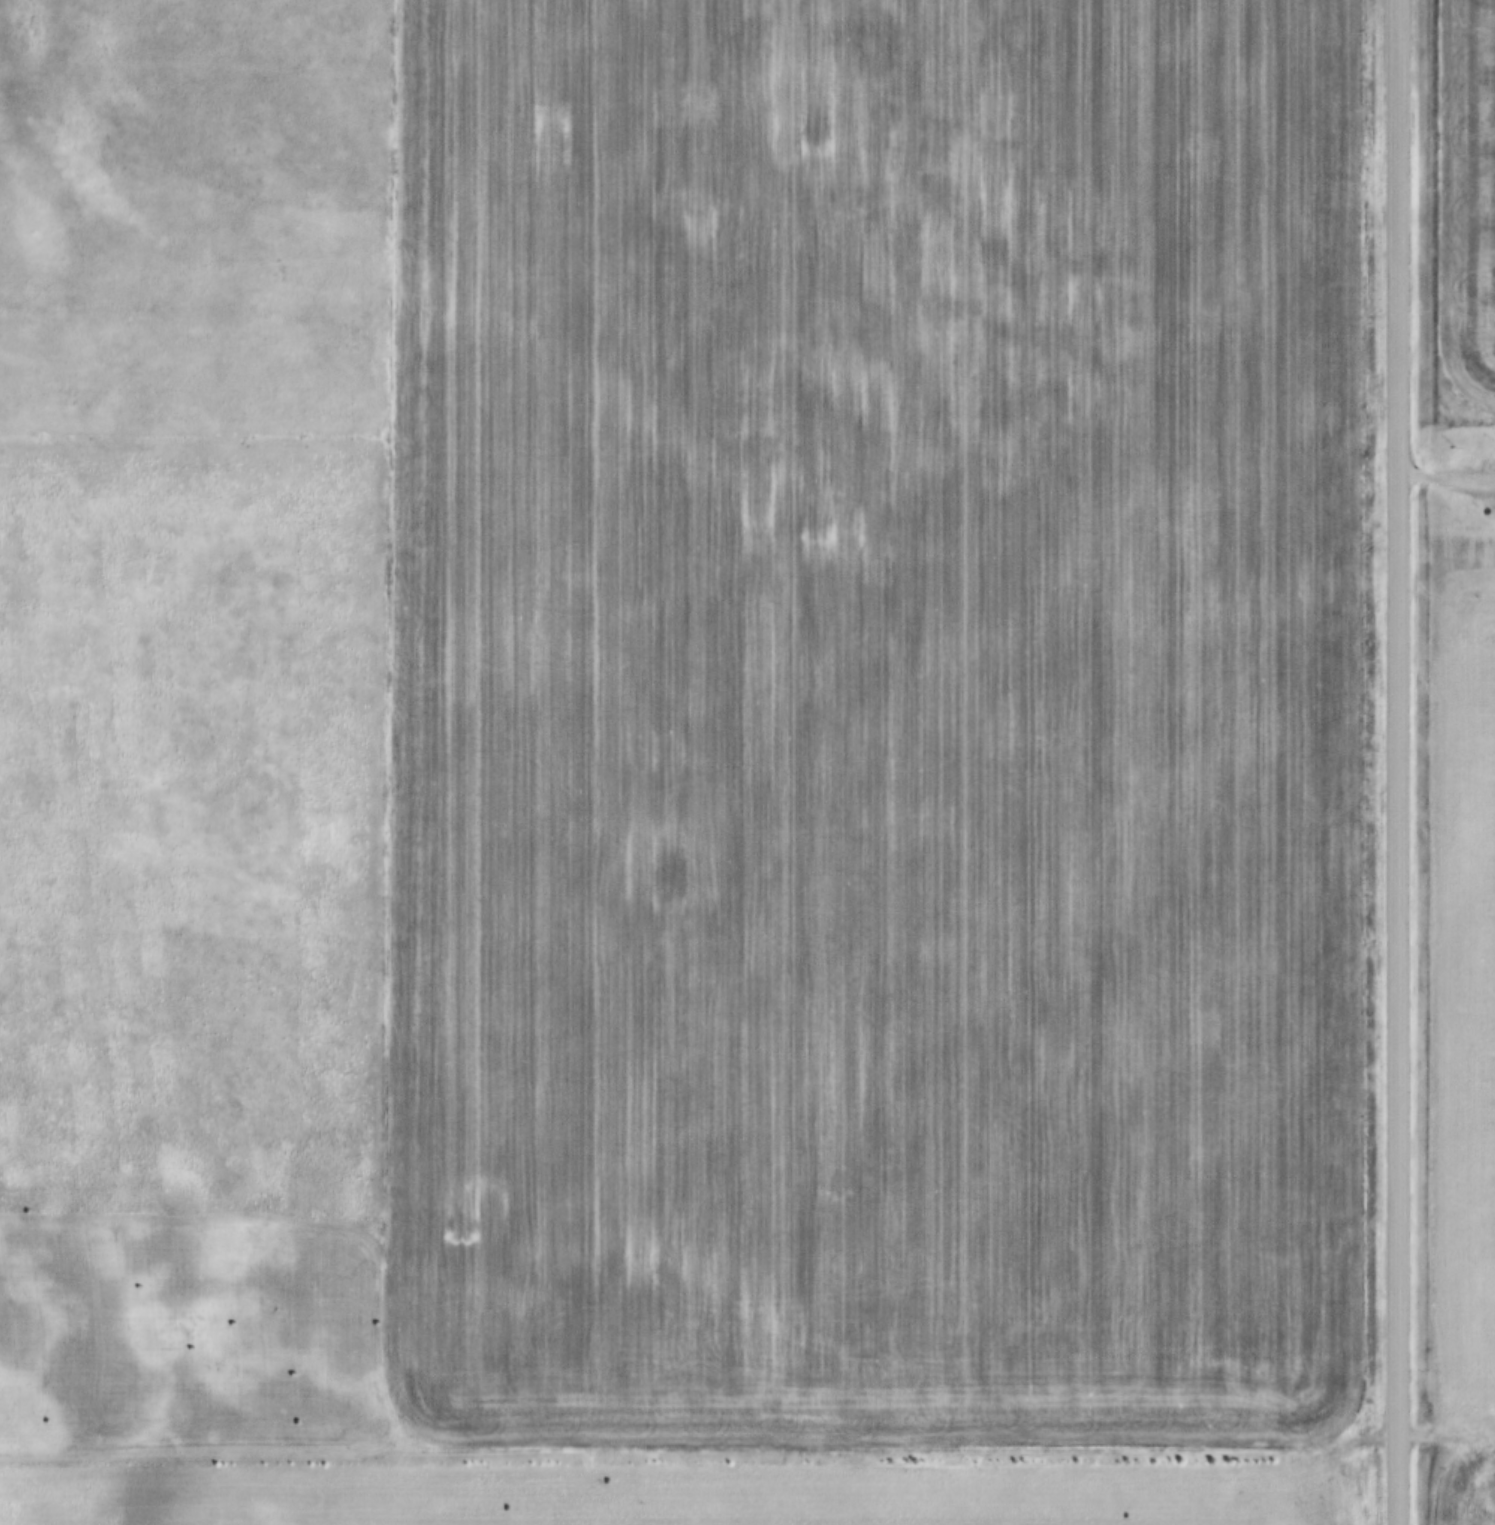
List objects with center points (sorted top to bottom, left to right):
road: (1399, 762)

